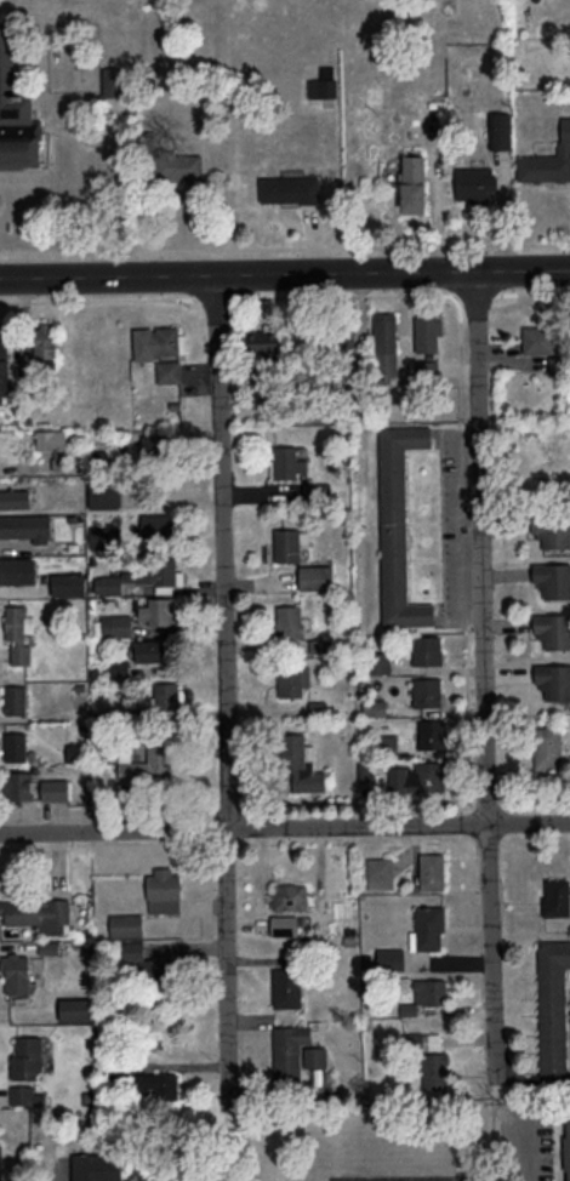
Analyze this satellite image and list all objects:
building: (112, 80)
building: (324, 82)
building: (16, 113)
building: (500, 130)
building: (548, 160)
building: (179, 167)
building: (414, 182)
building: (477, 184)
building: (290, 189)
road: (285, 246)
road: (284, 272)
road: (534, 292)
road: (478, 293)
road: (457, 296)
road: (221, 297)
road: (98, 298)
building: (429, 331)
building: (386, 338)
building: (540, 340)
building: (45, 342)
building: (266, 342)
building: (161, 349)
building: (5, 361)
building: (155, 445)
building: (55, 446)
building: (287, 463)
building: (106, 495)
road: (463, 496)
building: (19, 497)
building: (158, 524)
building: (19, 525)
building: (399, 525)
building: (552, 530)
building: (104, 536)
building: (290, 543)
building: (17, 570)
building: (161, 576)
building: (315, 577)
building: (553, 578)
building: (69, 583)
building: (109, 584)
building: (158, 610)
building: (290, 622)
building: (116, 624)
building: (553, 629)
building: (19, 634)
building: (152, 650)
building: (428, 650)
road: (485, 671)
building: (553, 679)
building: (293, 680)
road: (227, 686)
building: (428, 691)
building: (166, 695)
building: (16, 698)
building: (431, 736)
building: (16, 746)
building: (548, 746)
building: (160, 759)
building: (303, 763)
building: (131, 771)
building: (417, 777)
building: (19, 785)
building: (56, 788)
road: (285, 827)
building: (433, 871)
building: (381, 872)
building: (164, 890)
building: (290, 896)
building: (555, 896)
building: (38, 913)
building: (127, 924)
building: (427, 930)
building: (394, 957)
building: (152, 968)
building: (16, 972)
building: (287, 987)
building: (431, 991)
building: (553, 1003)
building: (76, 1008)
building: (423, 1040)
building: (295, 1051)
building: (28, 1056)
building: (432, 1071)
road: (531, 1083)
building: (159, 1084)
building: (25, 1094)
road: (497, 1095)
road: (520, 1146)
building: (568, 1148)
building: (1, 1162)
building: (98, 1166)

